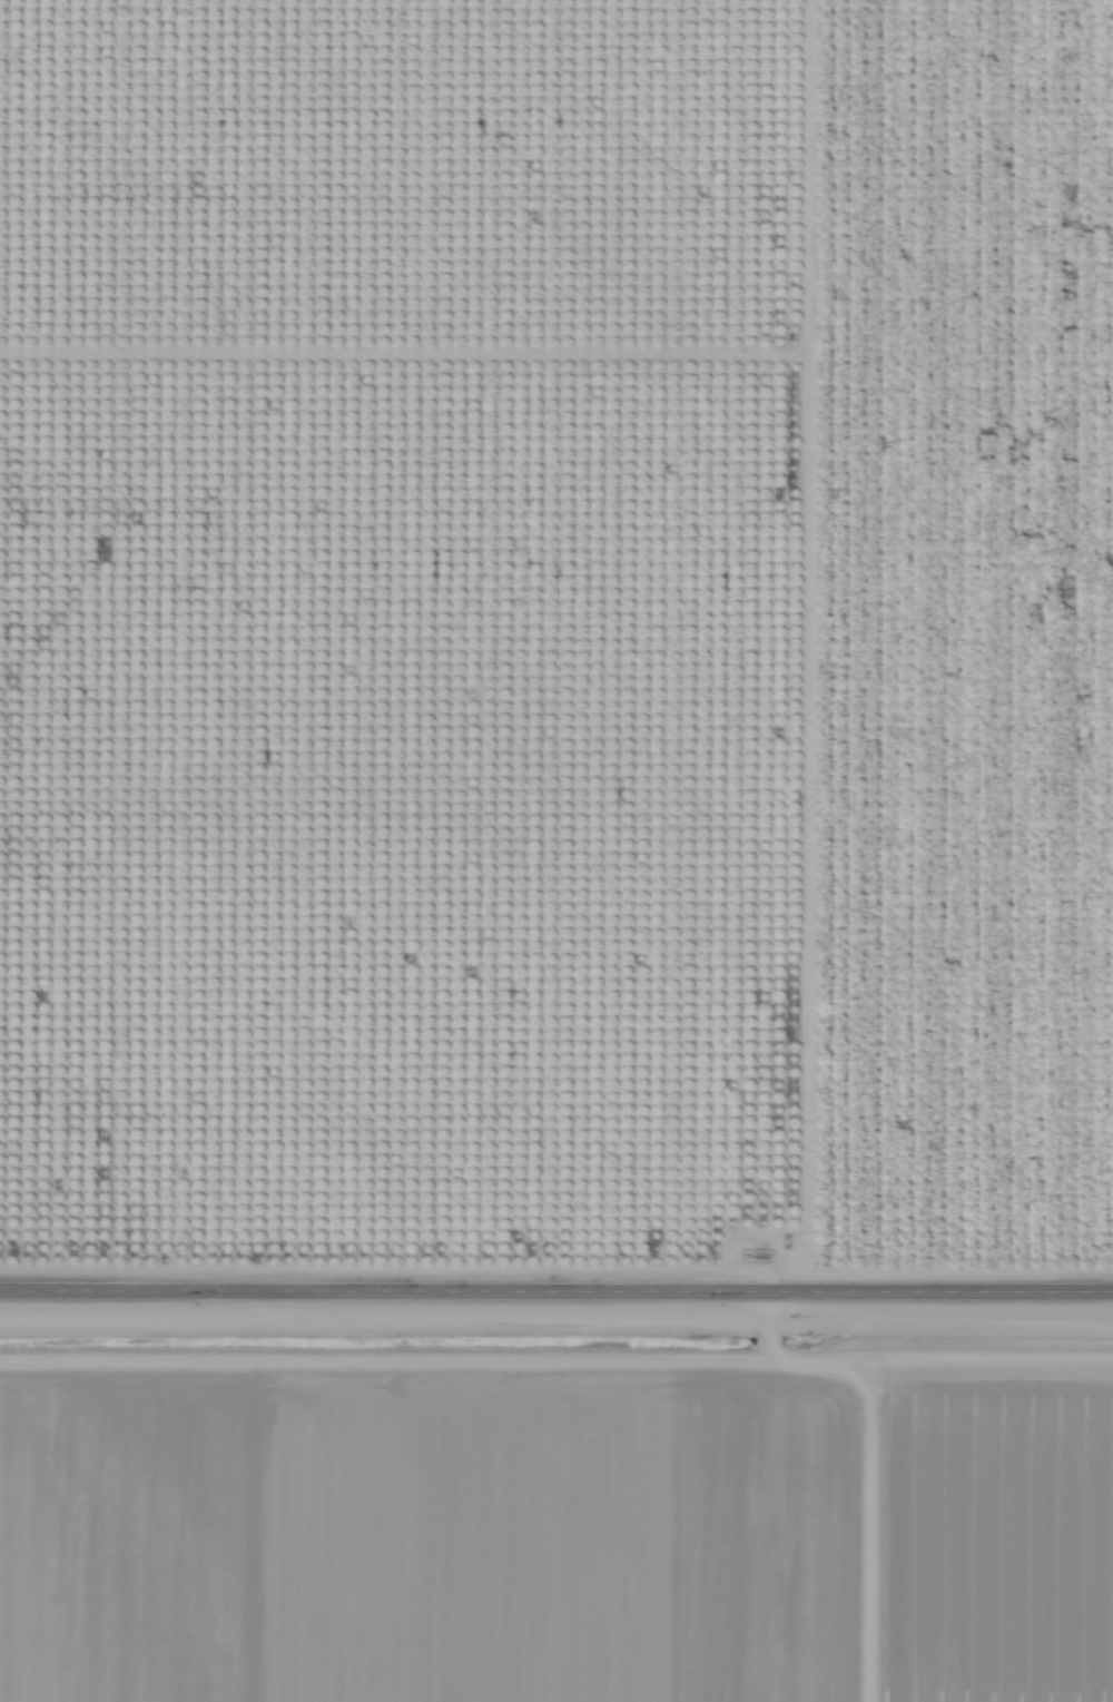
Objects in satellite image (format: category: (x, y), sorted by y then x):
road: (839, 850)
road: (555, 1299)
crop: (555, 1535)

